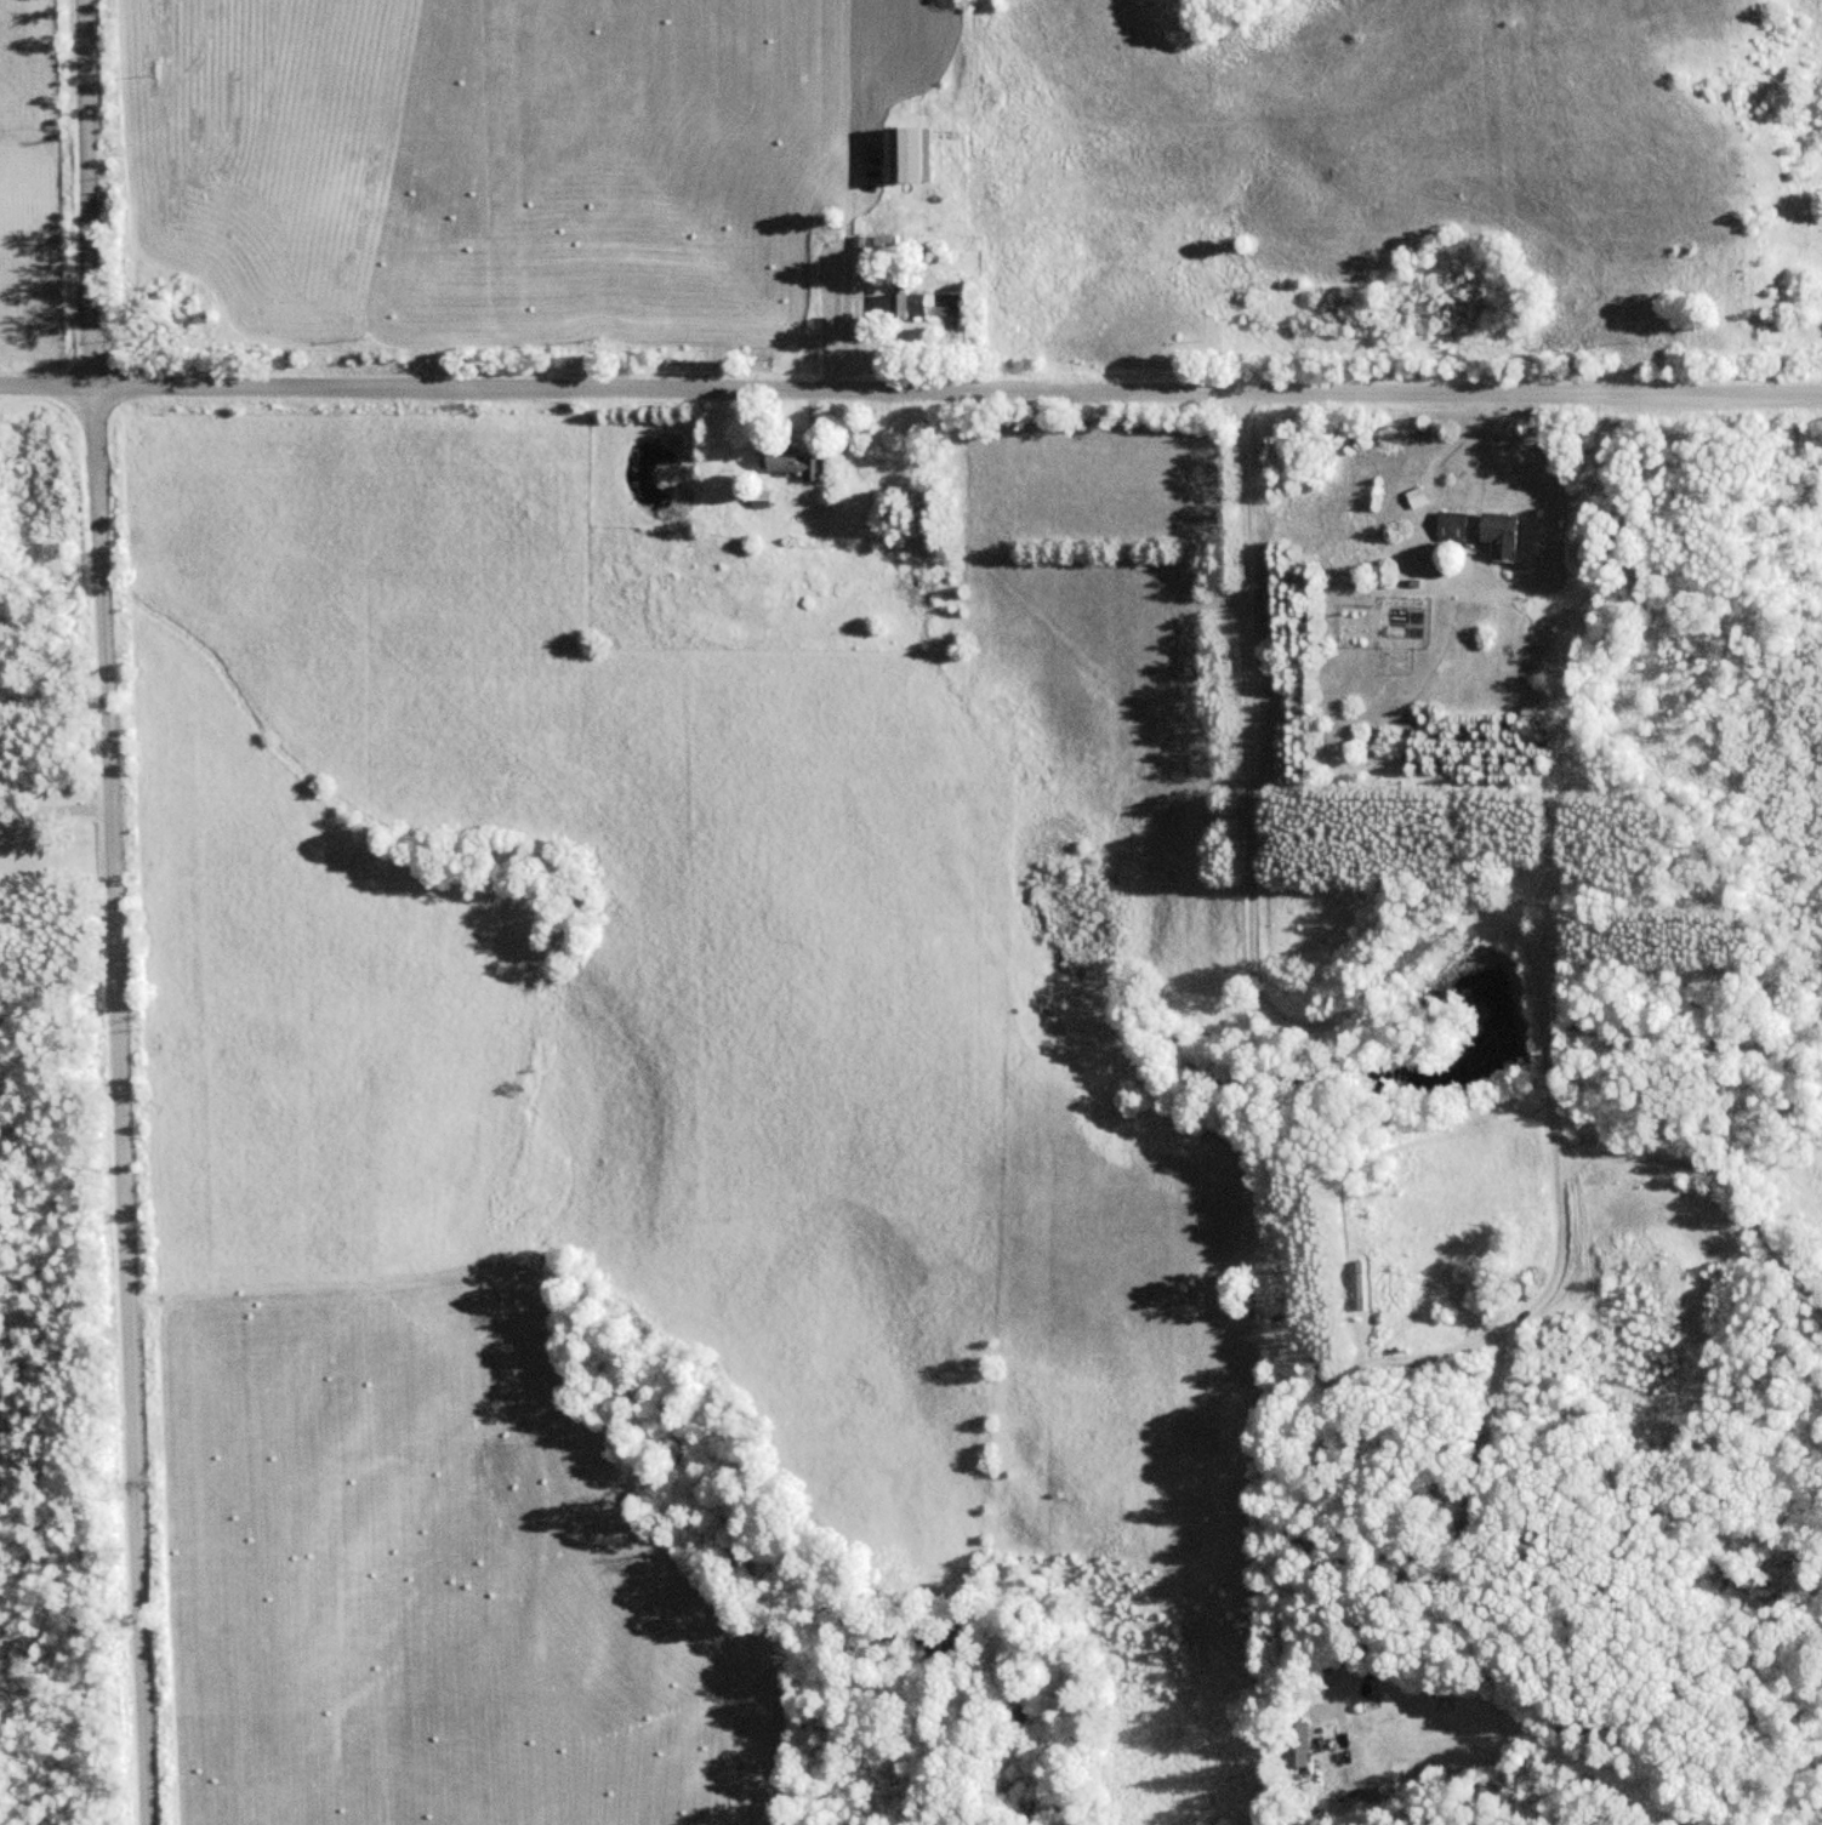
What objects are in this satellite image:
building: (909, 155)
building: (929, 303)
road: (910, 392)
building: (798, 461)
building: (1419, 496)
building: (1453, 526)
building: (1510, 531)
road: (107, 912)
road: (1251, 969)
road: (1718, 1177)
road: (1359, 1359)
building: (1378, 1666)
building: (1302, 1744)

